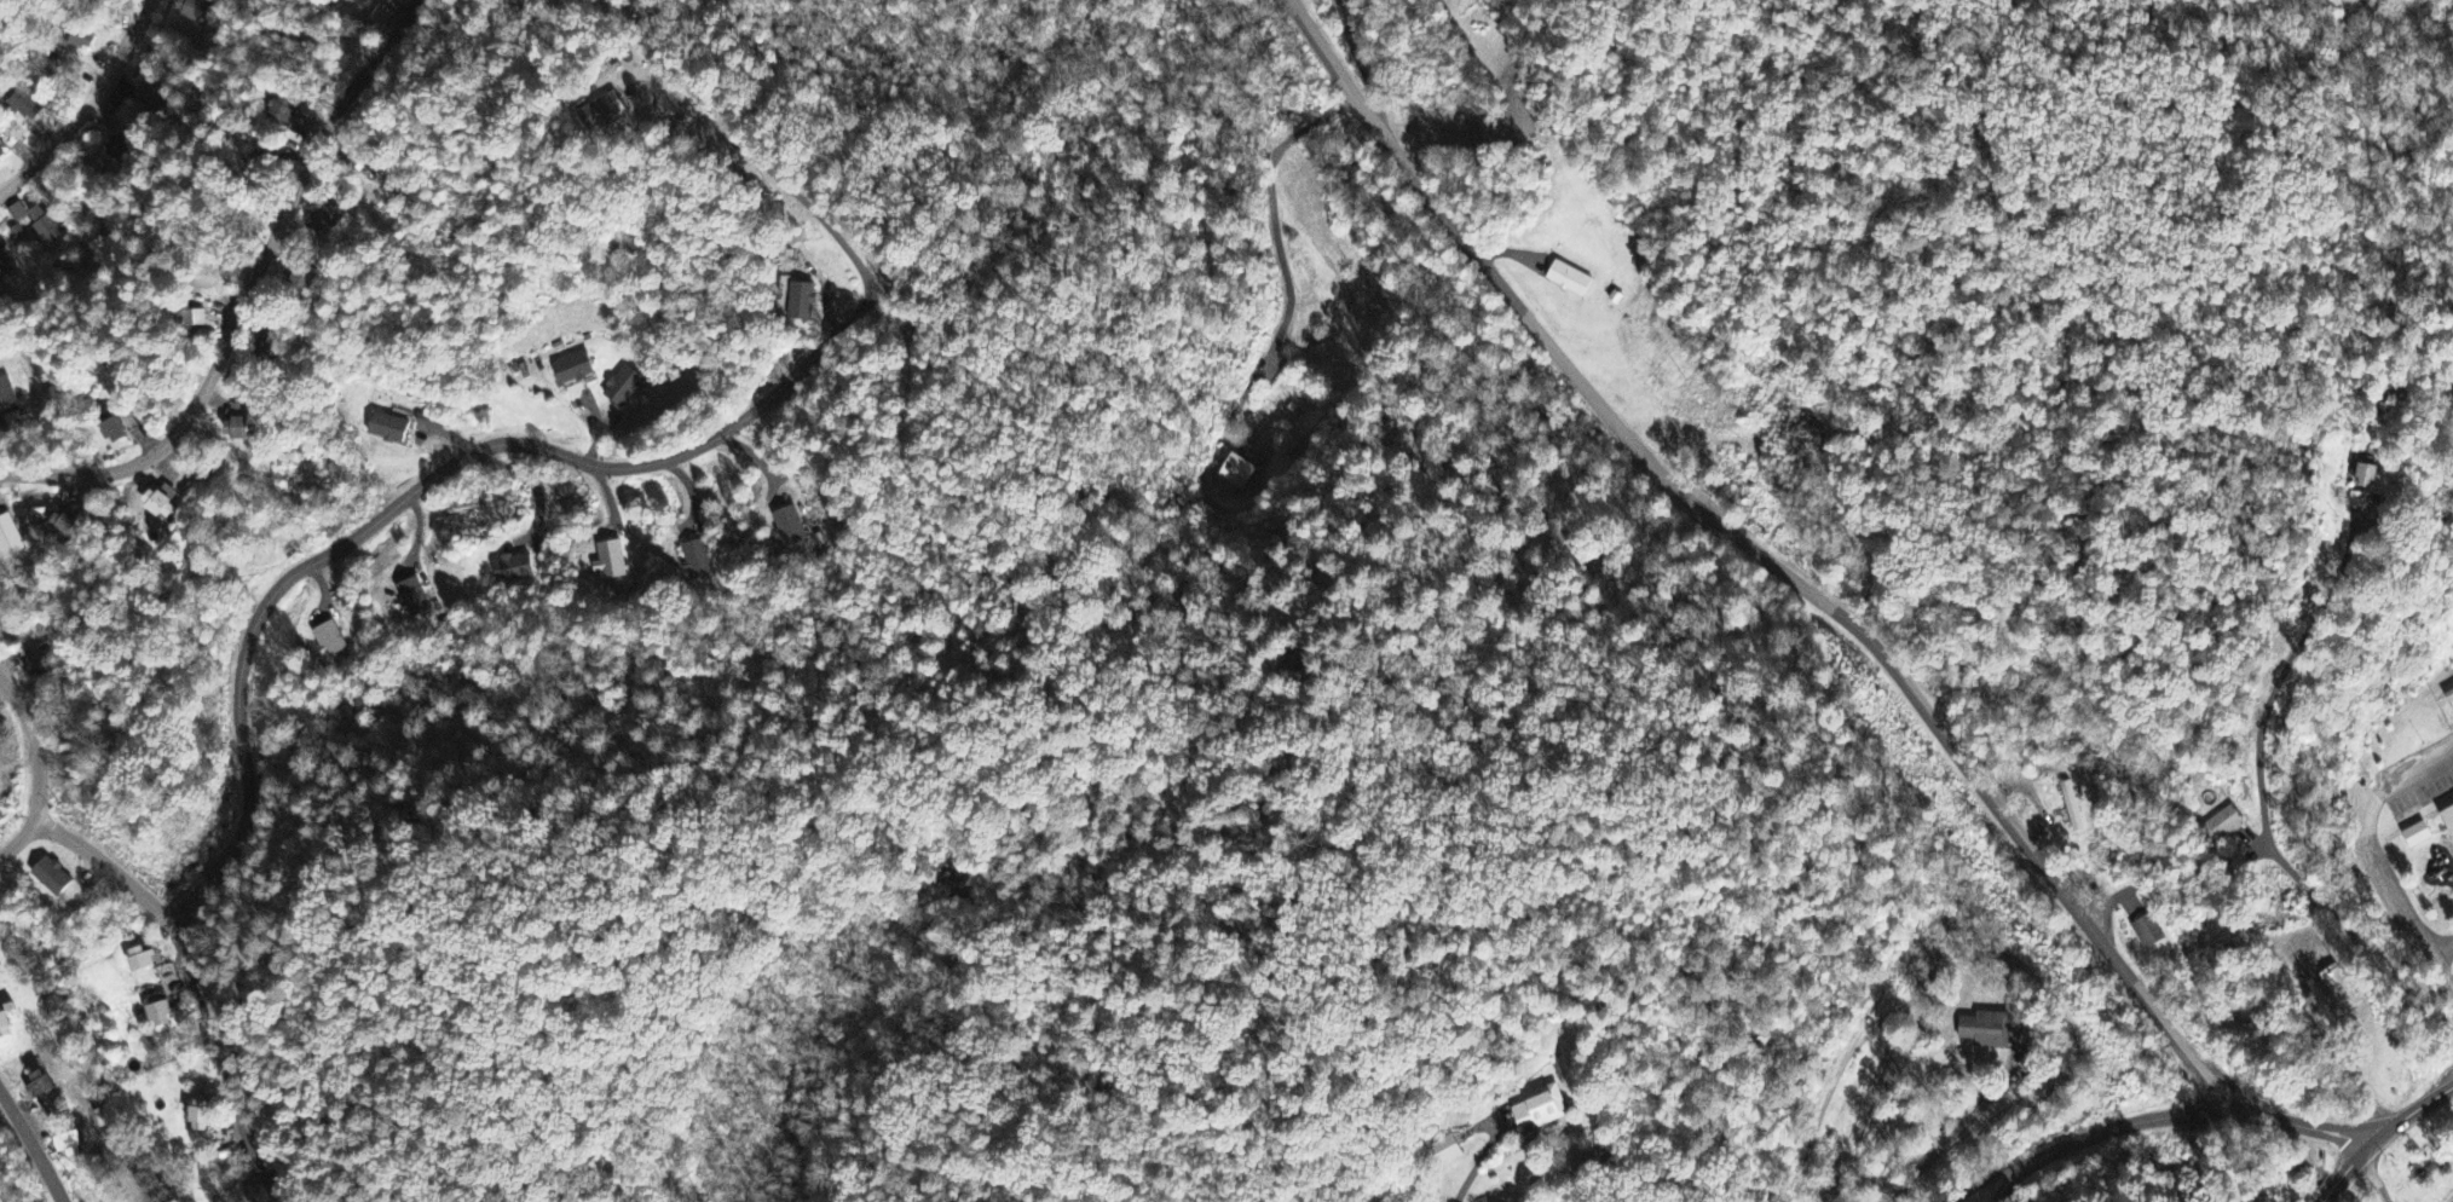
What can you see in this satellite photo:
building: (191, 10)
building: (353, 31)
building: (82, 42)
road: (87, 105)
building: (25, 108)
building: (284, 112)
building: (601, 114)
building: (115, 149)
building: (17, 215)
building: (327, 223)
building: (44, 229)
building: (2, 270)
building: (1570, 281)
road: (249, 299)
building: (801, 304)
building: (195, 320)
building: (572, 371)
building: (622, 388)
building: (6, 397)
building: (239, 426)
building: (387, 430)
building: (114, 432)
road: (553, 450)
building: (1237, 473)
building: (2366, 476)
building: (161, 504)
building: (789, 528)
building: (8, 539)
building: (696, 562)
building: (611, 565)
building: (513, 570)
road: (1817, 597)
building: (412, 600)
building: (329, 643)
building: (34, 665)
building: (0, 738)
road: (31, 749)
building: (2072, 803)
road: (2273, 803)
road: (2367, 811)
building: (2448, 815)
building: (2230, 821)
building: (2419, 836)
road: (18, 839)
building: (52, 878)
building: (2149, 929)
road: (2437, 947)
building: (2286, 948)
road: (2424, 953)
building: (143, 960)
road: (190, 972)
building: (2341, 986)
building: (160, 1016)
building: (1991, 1024)
building: (41, 1088)
building: (1543, 1108)
road: (2408, 1114)
building: (200, 1117)
road: (2079, 1139)
building: (69, 1145)
road: (30, 1146)
building: (1441, 1152)
road: (1478, 1165)
road: (2343, 1173)
road: (1999, 1187)

